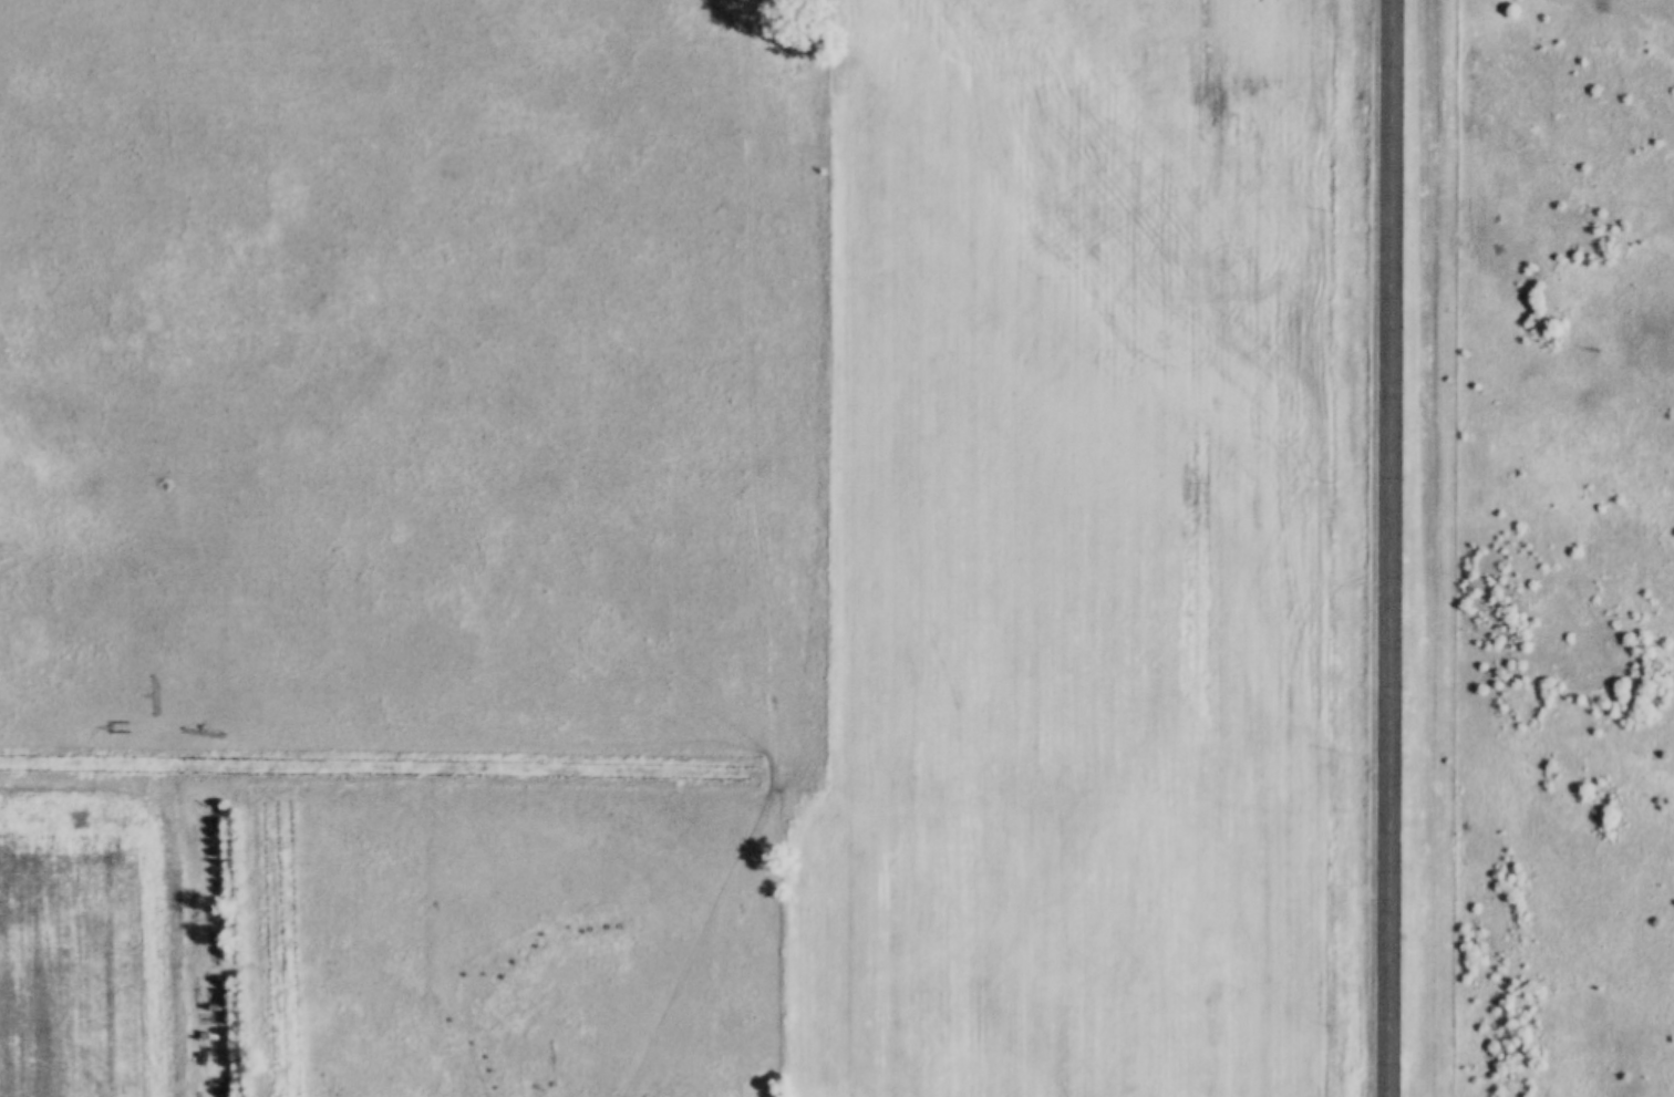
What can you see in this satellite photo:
road: (1391, 548)

